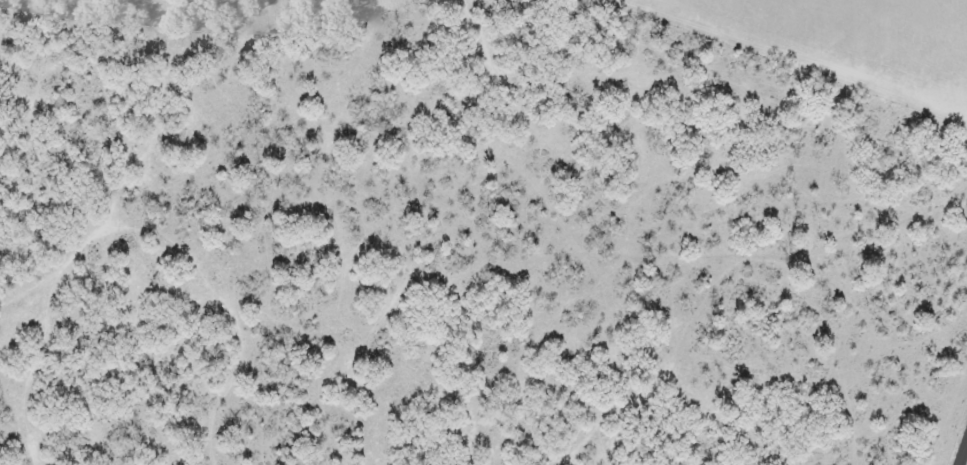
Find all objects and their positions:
road: (966, 462)

